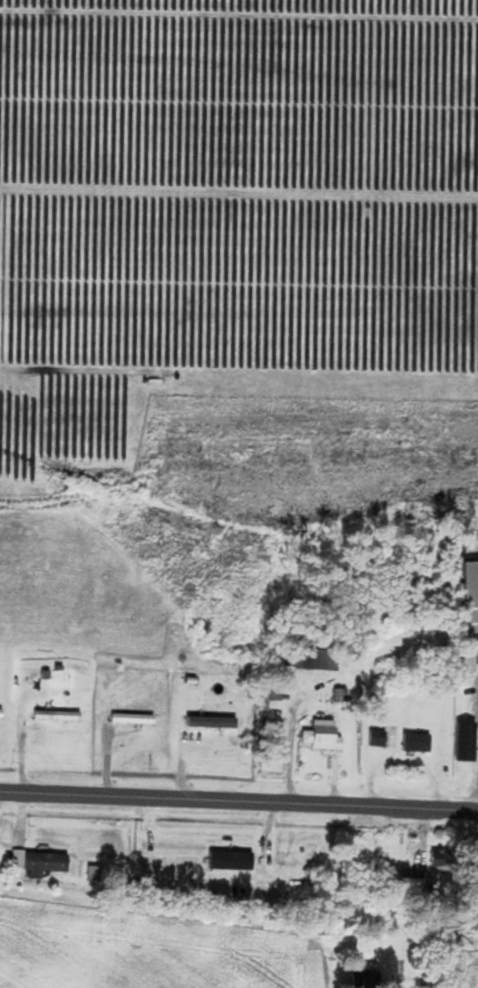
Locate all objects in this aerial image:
solar farm: (228, 214)
building: (471, 598)
building: (312, 656)
building: (265, 699)
building: (1, 713)
building: (58, 716)
building: (133, 719)
building: (211, 722)
building: (324, 736)
building: (417, 743)
road: (238, 803)
building: (231, 862)
building: (40, 864)
building: (418, 889)

